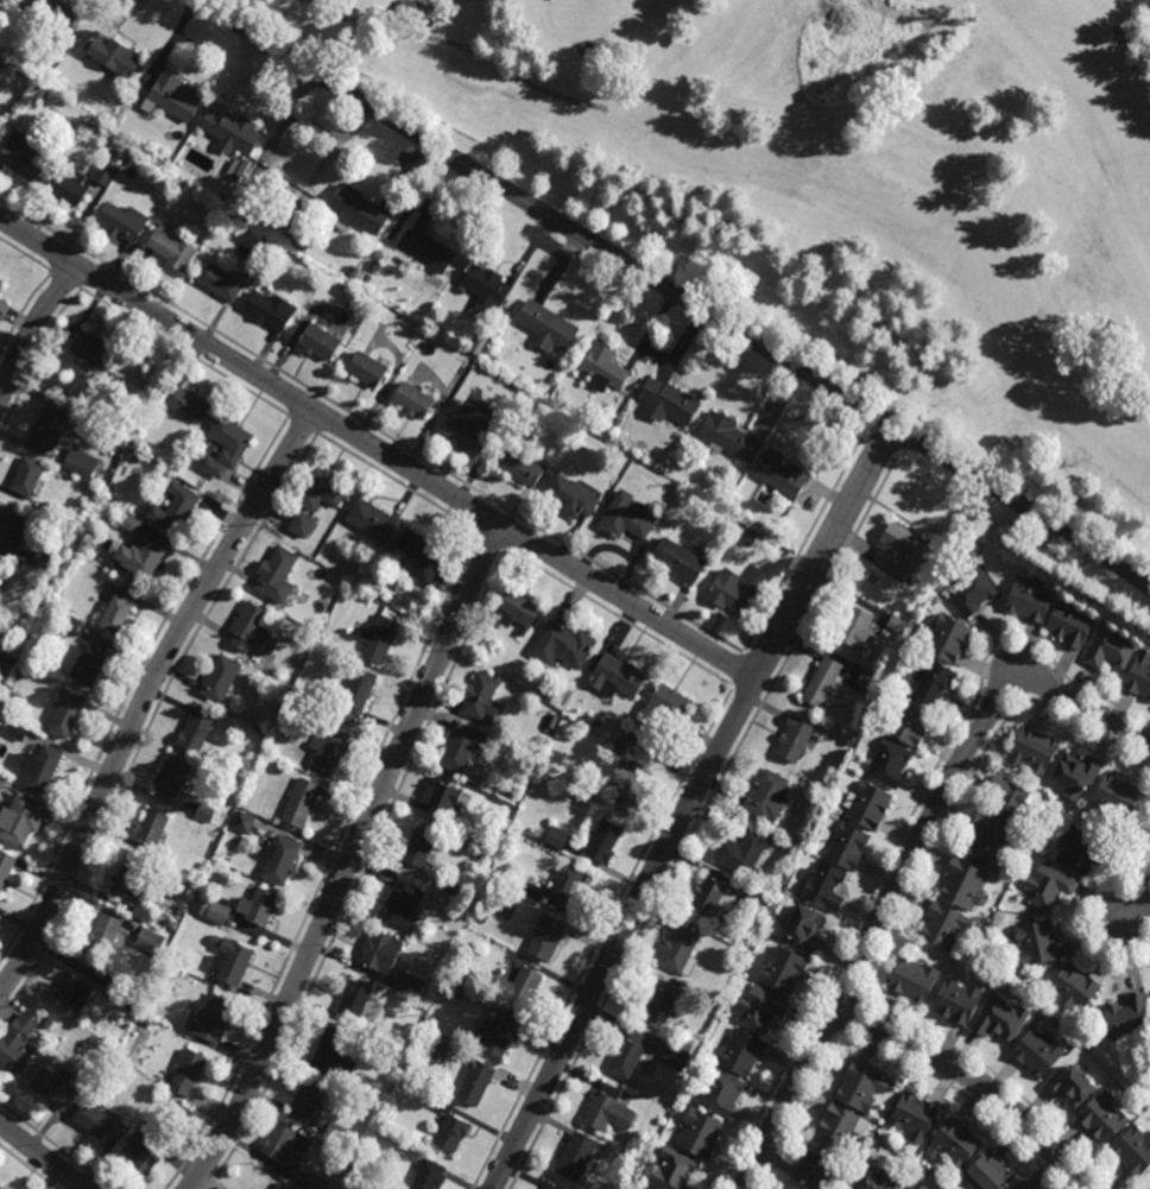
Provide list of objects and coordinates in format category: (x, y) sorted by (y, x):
building: (62, 32)
building: (119, 58)
building: (42, 76)
building: (33, 87)
building: (45, 93)
building: (139, 97)
building: (173, 99)
building: (37, 101)
building: (2, 126)
building: (87, 128)
building: (232, 132)
building: (20, 157)
building: (239, 169)
building: (106, 173)
building: (295, 173)
park: (873, 176)
building: (67, 185)
building: (165, 191)
building: (226, 197)
building: (240, 198)
building: (355, 211)
building: (121, 221)
building: (290, 235)
building: (303, 244)
building: (171, 247)
building: (423, 252)
road: (25, 254)
road: (58, 255)
building: (374, 265)
road: (94, 277)
road: (65, 278)
building: (329, 278)
building: (366, 279)
building: (216, 283)
building: (0, 284)
building: (486, 290)
road: (675, 291)
building: (2, 310)
road: (23, 310)
building: (270, 310)
building: (546, 327)
road: (32, 328)
building: (318, 343)
building: (476, 347)
building: (89, 350)
road: (184, 352)
road: (36, 362)
building: (604, 368)
building: (365, 371)
building: (127, 380)
building: (411, 400)
road: (297, 401)
building: (184, 404)
building: (666, 404)
road: (324, 418)
road: (302, 424)
road: (372, 426)
building: (49, 429)
building: (462, 434)
building: (725, 434)
building: (225, 445)
road: (378, 449)
road: (879, 449)
building: (78, 463)
building: (517, 467)
building: (781, 474)
building: (29, 480)
road: (397, 482)
building: (321, 491)
building: (725, 492)
building: (571, 495)
building: (52, 510)
building: (173, 510)
road: (485, 516)
building: (626, 518)
building: (369, 521)
building: (131, 524)
building: (302, 524)
building: (770, 527)
building: (11, 531)
road: (514, 535)
building: (750, 538)
road: (492, 540)
road: (803, 543)
building: (899, 551)
building: (419, 556)
building: (143, 559)
building: (39, 561)
building: (677, 562)
building: (0, 563)
building: (276, 577)
building: (309, 589)
building: (971, 594)
building: (727, 595)
building: (1029, 601)
building: (516, 612)
building: (8, 613)
building: (115, 616)
road: (620, 620)
building: (70, 622)
building: (896, 625)
building: (1069, 626)
building: (855, 631)
building: (251, 632)
building: (377, 640)
building: (947, 641)
building: (562, 647)
building: (1108, 651)
building: (7, 663)
road: (762, 663)
building: (88, 666)
road: (739, 670)
building: (219, 677)
building: (615, 678)
building: (1138, 678)
road: (132, 681)
building: (868, 681)
building: (823, 684)
road: (1044, 684)
building: (934, 685)
building: (544, 688)
building: (358, 694)
road: (999, 695)
road: (146, 696)
road: (748, 696)
building: (479, 700)
building: (666, 706)
building: (258, 714)
building: (65, 716)
building: (552, 720)
road: (151, 721)
building: (594, 721)
building: (906, 722)
building: (254, 725)
building: (195, 729)
building: (17, 731)
building: (628, 738)
building: (794, 740)
building: (851, 741)
building: (461, 748)
building: (327, 751)
building: (1032, 752)
building: (886, 765)
building: (42, 767)
building: (1075, 773)
building: (171, 778)
road: (967, 779)
building: (1, 783)
building: (628, 785)
building: (1116, 797)
building: (766, 798)
building: (1005, 801)
building: (440, 802)
building: (299, 803)
road: (689, 804)
building: (865, 807)
building: (206, 810)
road: (700, 818)
building: (21, 821)
building: (242, 821)
building: (150, 829)
road: (902, 833)
building: (557, 836)
building: (802, 839)
building: (602, 843)
building: (987, 845)
building: (417, 849)
building: (845, 849)
building: (1075, 850)
building: (743, 854)
building: (278, 860)
road: (349, 860)
road: (328, 864)
road: (908, 865)
building: (5, 866)
road: (361, 872)
building: (126, 883)
building: (962, 885)
building: (451, 886)
building: (570, 887)
building: (821, 887)
building: (1048, 887)
building: (533, 891)
building: (440, 894)
building: (710, 898)
road: (1142, 899)
building: (757, 902)
building: (770, 905)
building: (404, 906)
building: (257, 907)
building: (214, 910)
road: (1087, 911)
building: (143, 913)
building: (171, 924)
building: (943, 926)
building: (804, 930)
building: (102, 936)
building: (546, 938)
road: (604, 938)
building: (151, 940)
building: (215, 940)
building: (1031, 945)
building: (677, 949)
building: (379, 953)
building: (230, 962)
building: (779, 970)
building: (166, 974)
building: (914, 982)
building: (411, 985)
building: (115, 988)
building: (518, 988)
building: (1073, 988)
building: (451, 989)
road: (841, 992)
building: (72, 993)
road: (860, 998)
building: (352, 1001)
building: (956, 1003)
building: (658, 1005)
building: (129, 1007)
building: (762, 1008)
road: (849, 1014)
building: (1126, 1016)
building: (999, 1019)
building: (209, 1020)
building: (146, 1022)
road: (826, 1022)
building: (49, 1023)
building: (368, 1031)
road: (842, 1032)
building: (498, 1037)
building: (15, 1044)
building: (436, 1049)
building: (328, 1051)
building: (739, 1054)
building: (1037, 1054)
building: (627, 1055)
building: (676, 1057)
building: (411, 1070)
building: (185, 1074)
road: (999, 1077)
road: (975, 1080)
building: (476, 1086)
building: (1068, 1087)
building: (860, 1089)
building: (52, 1090)
building: (719, 1094)
building: (163, 1095)
road: (965, 1095)
building: (307, 1099)
road: (802, 1111)
building: (606, 1113)
building: (914, 1118)
building: (1100, 1118)
building: (93, 1121)
building: (839, 1128)
building: (335, 1133)
building: (699, 1134)
building: (450, 1136)
road: (56, 1144)
building: (279, 1144)
building: (953, 1145)
building: (143, 1149)
building: (1133, 1152)
road: (44, 1153)
building: (576, 1158)
road: (27, 1168)
building: (674, 1171)
building: (988, 1172)
building: (816, 1174)
building: (633, 1176)
building: (429, 1177)
building: (877, 1181)
building: (314, 1182)
road: (740, 1182)
building: (1023, 1185)
building: (550, 1187)
building: (917, 1187)
building: (0, 1188)

